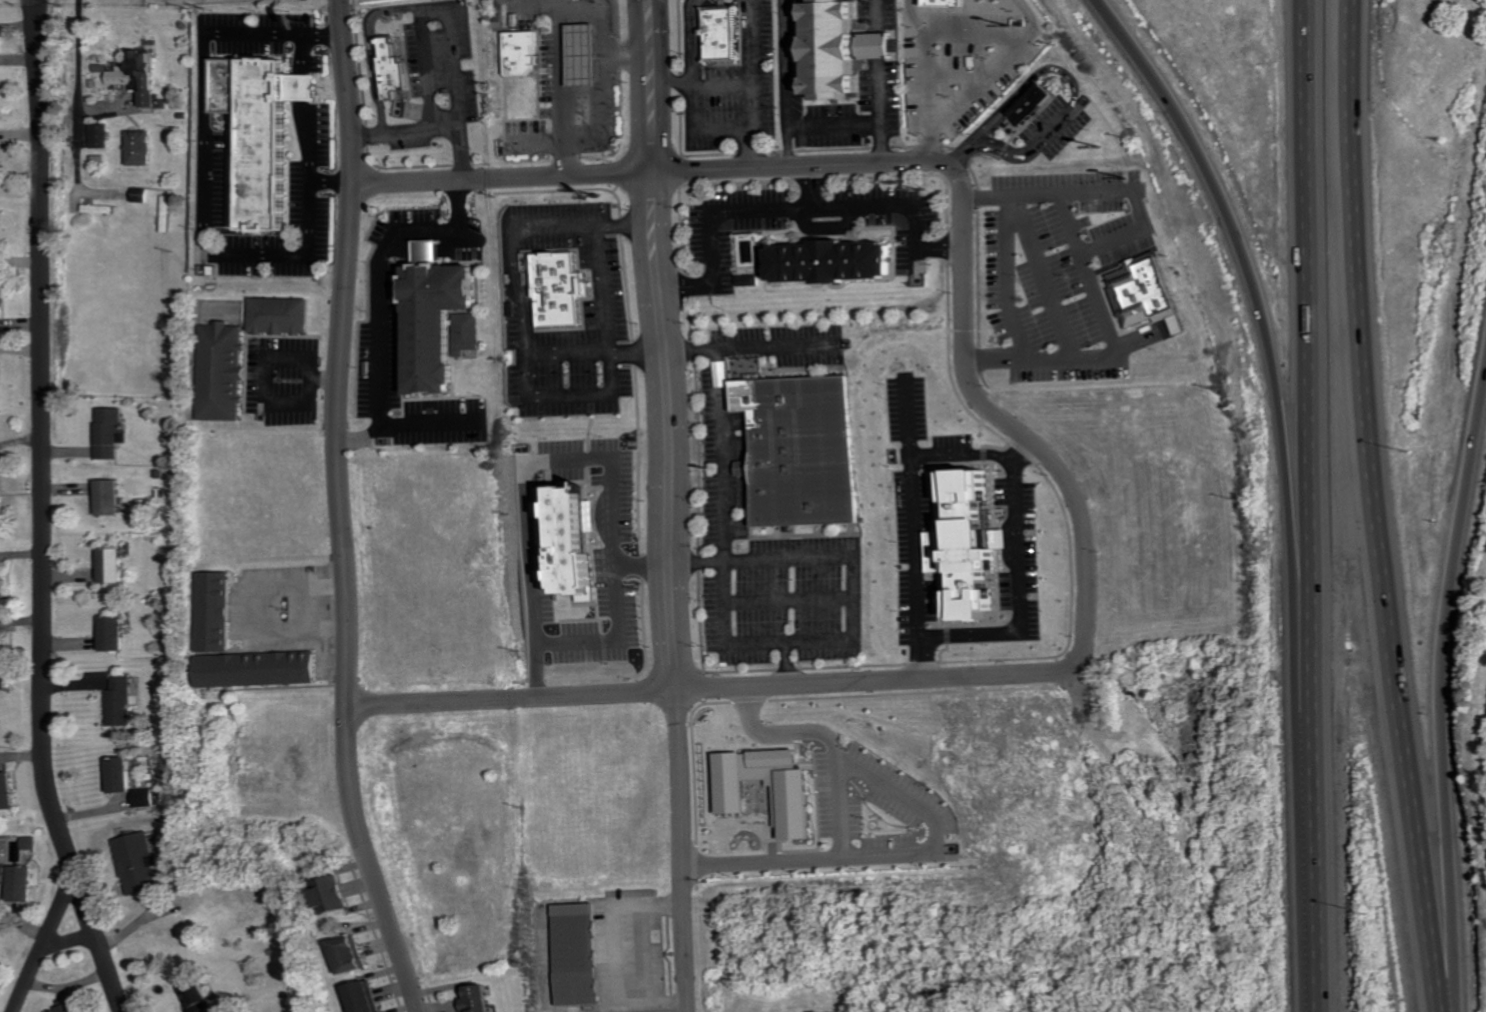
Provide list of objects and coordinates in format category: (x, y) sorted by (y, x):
building: (948, 2)
road: (409, 4)
road: (896, 14)
building: (721, 32)
road: (897, 45)
building: (835, 48)
building: (525, 51)
building: (586, 54)
road: (753, 63)
road: (430, 64)
road: (925, 65)
building: (393, 67)
road: (995, 69)
building: (139, 74)
road: (806, 83)
road: (703, 84)
road: (695, 92)
road: (607, 102)
building: (1030, 102)
road: (80, 111)
road: (899, 112)
road: (433, 125)
road: (854, 127)
building: (262, 132)
building: (101, 134)
building: (141, 146)
road: (930, 148)
road: (758, 149)
road: (1013, 152)
road: (933, 164)
road: (201, 172)
road: (904, 208)
road: (727, 216)
road: (1067, 223)
road: (1088, 249)
building: (841, 259)
road: (1044, 275)
building: (756, 279)
road: (1009, 283)
building: (561, 288)
road: (603, 288)
building: (1147, 292)
road: (379, 293)
building: (0, 306)
road: (1260, 313)
building: (279, 314)
building: (445, 323)
building: (222, 369)
building: (1, 377)
building: (111, 431)
building: (810, 445)
road: (1021, 453)
road: (531, 458)
building: (109, 497)
building: (0, 504)
road: (1310, 505)
road: (669, 506)
road: (1021, 506)
road: (1375, 507)
road: (341, 509)
road: (45, 512)
road: (724, 521)
road: (916, 535)
building: (973, 545)
road: (836, 556)
building: (111, 564)
building: (4, 596)
building: (215, 611)
road: (246, 617)
building: (114, 633)
road: (610, 635)
building: (5, 670)
road: (1439, 685)
road: (717, 689)
building: (122, 702)
building: (121, 774)
building: (7, 791)
building: (145, 797)
building: (794, 799)
road: (841, 813)
building: (138, 863)
building: (337, 894)
road: (71, 942)
road: (46, 943)
building: (353, 954)
building: (579, 954)
road: (651, 955)
building: (365, 997)
building: (202, 998)
building: (478, 999)
building: (74, 1005)

